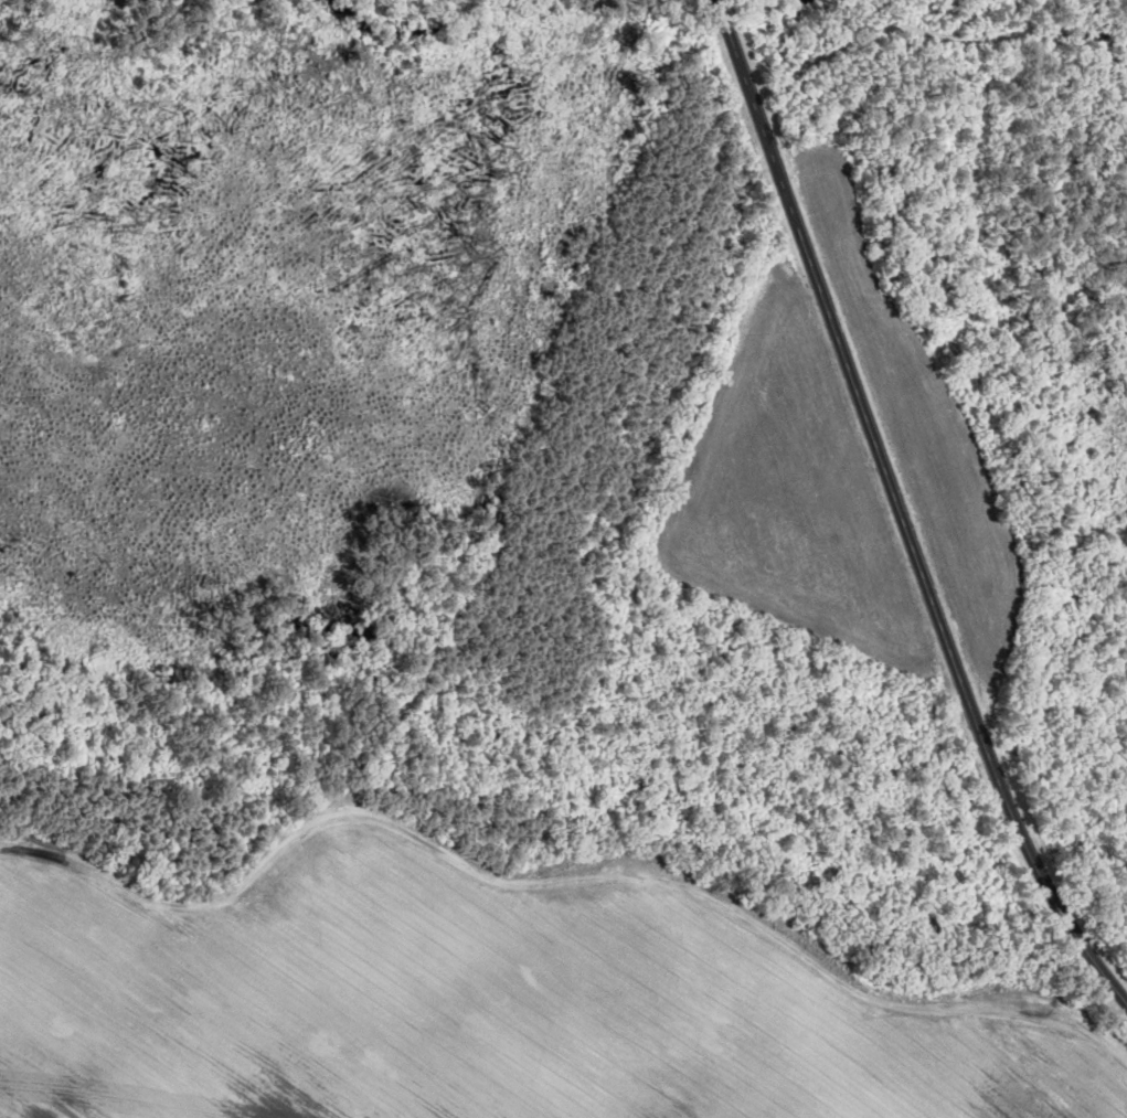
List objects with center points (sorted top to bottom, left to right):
road: (900, 512)

